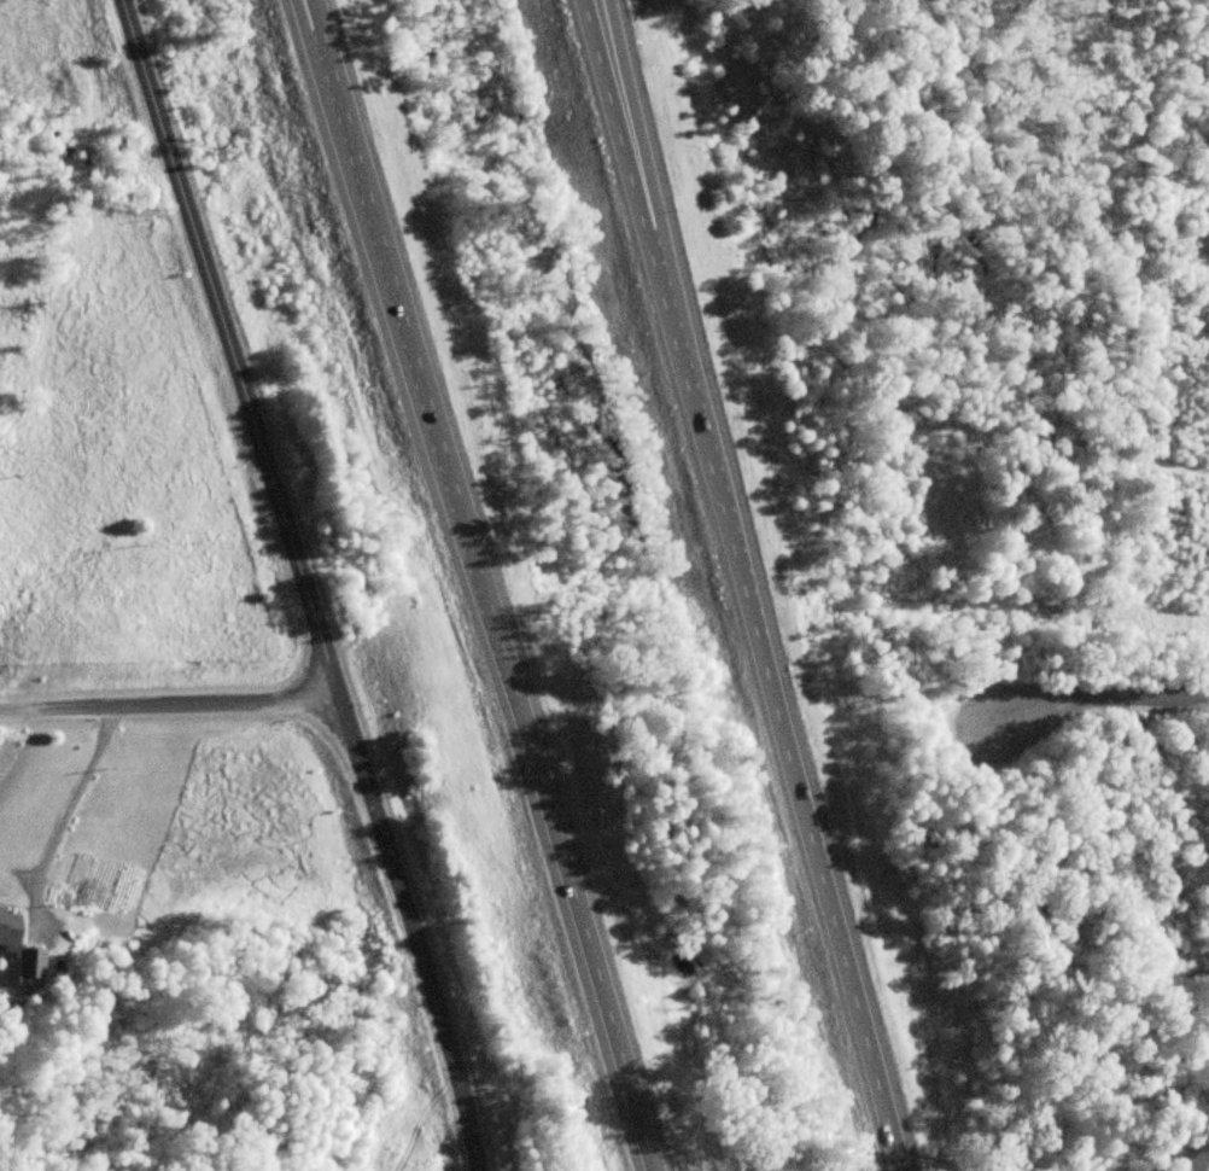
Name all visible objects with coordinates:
road: (319, 41)
road: (649, 170)
road: (303, 582)
road: (478, 585)
road: (737, 585)
road: (176, 700)
road: (1099, 700)
road: (8, 709)
road: (66, 812)
building: (10, 926)
building: (30, 962)

